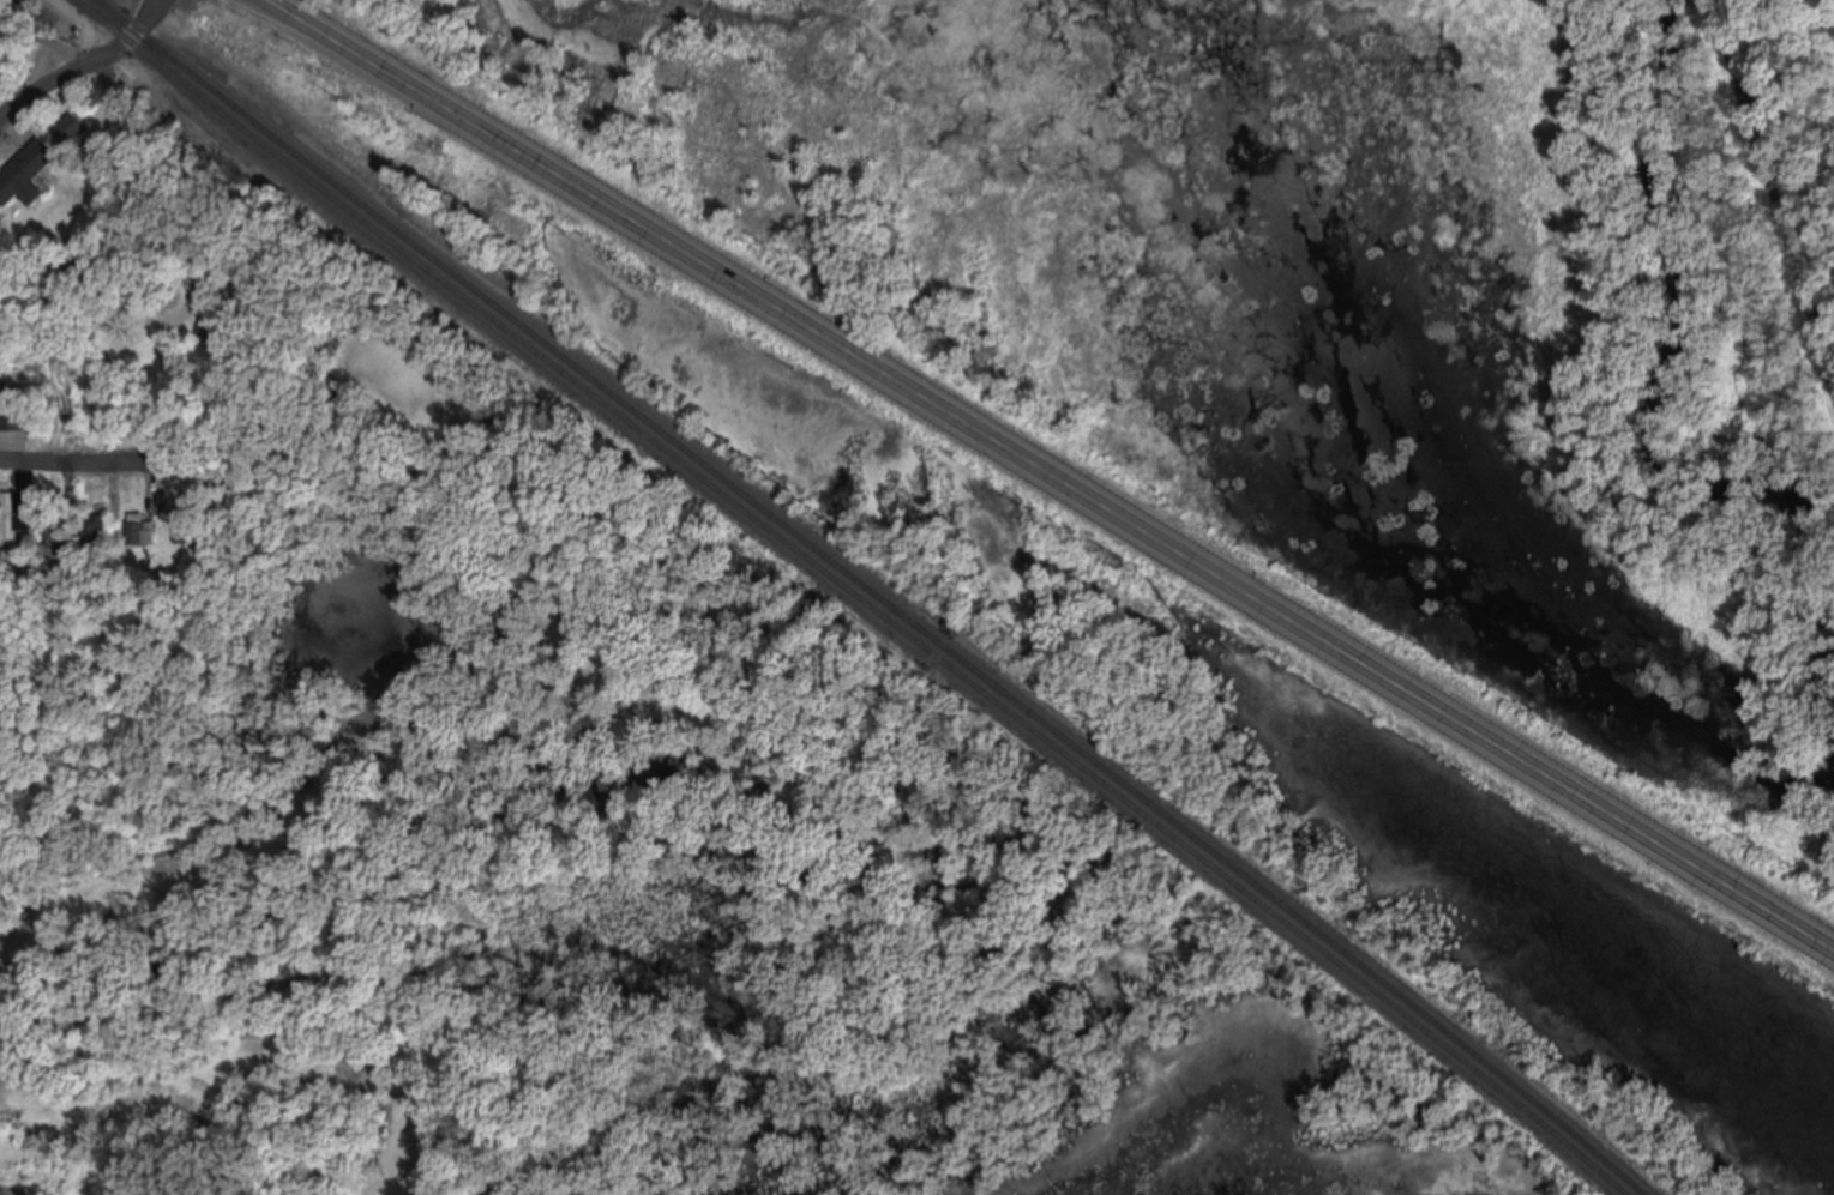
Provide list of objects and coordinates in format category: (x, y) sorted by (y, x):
road: (82, 65)
building: (70, 127)
road: (136, 157)
building: (25, 170)
road: (1773, 182)
building: (212, 331)
building: (14, 415)
road: (73, 458)
road: (1053, 471)
building: (12, 515)
building: (138, 527)
building: (94, 530)
building: (54, 533)
railway: (858, 592)
railway: (878, 592)
road: (313, 977)

